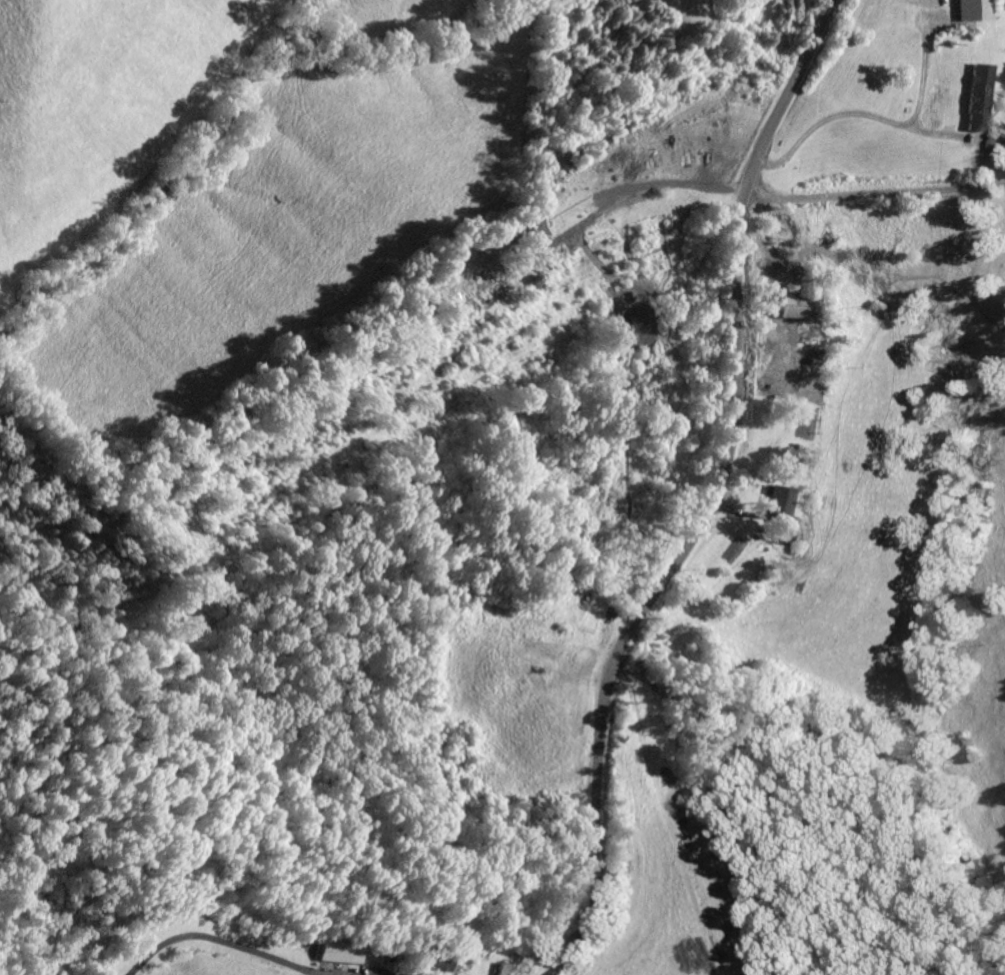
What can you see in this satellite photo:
building: (973, 9)
building: (977, 95)
road: (866, 191)
building: (797, 305)
road: (700, 494)
building: (779, 500)
building: (793, 536)
building: (343, 952)
building: (442, 962)
building: (464, 969)
building: (509, 969)

